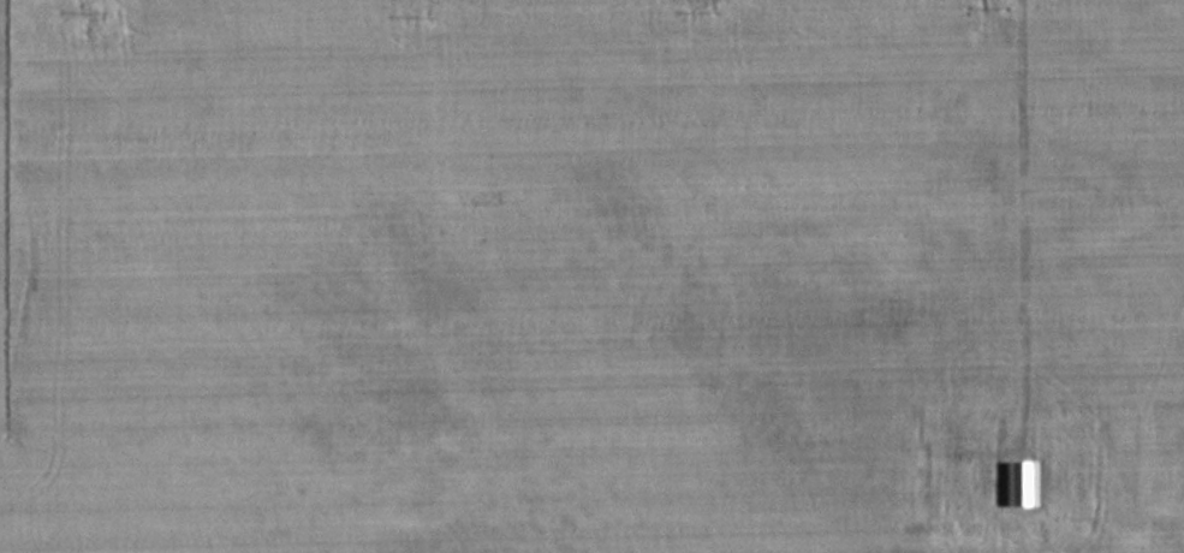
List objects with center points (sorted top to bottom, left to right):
building: (1019, 483)

